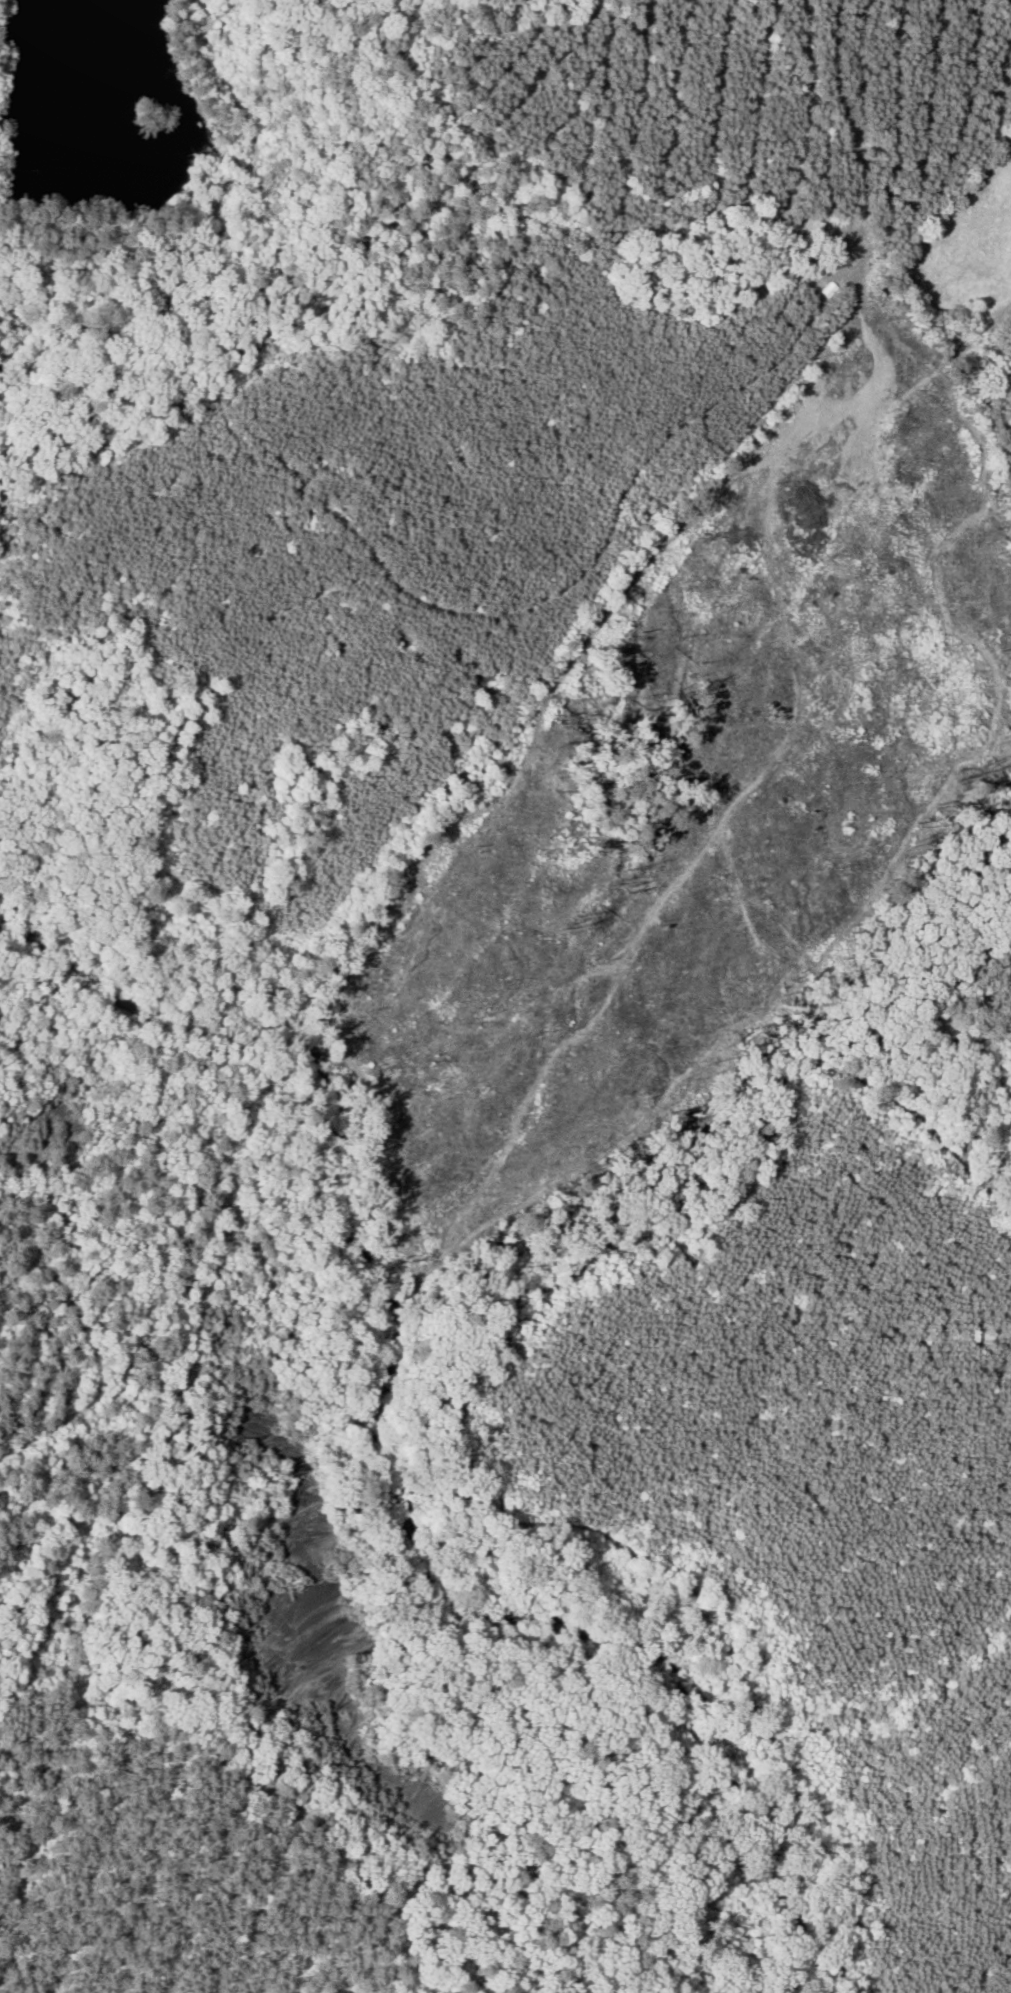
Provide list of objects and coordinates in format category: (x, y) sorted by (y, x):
dam: (42, 205)
dam: (119, 213)
dam: (191, 221)

